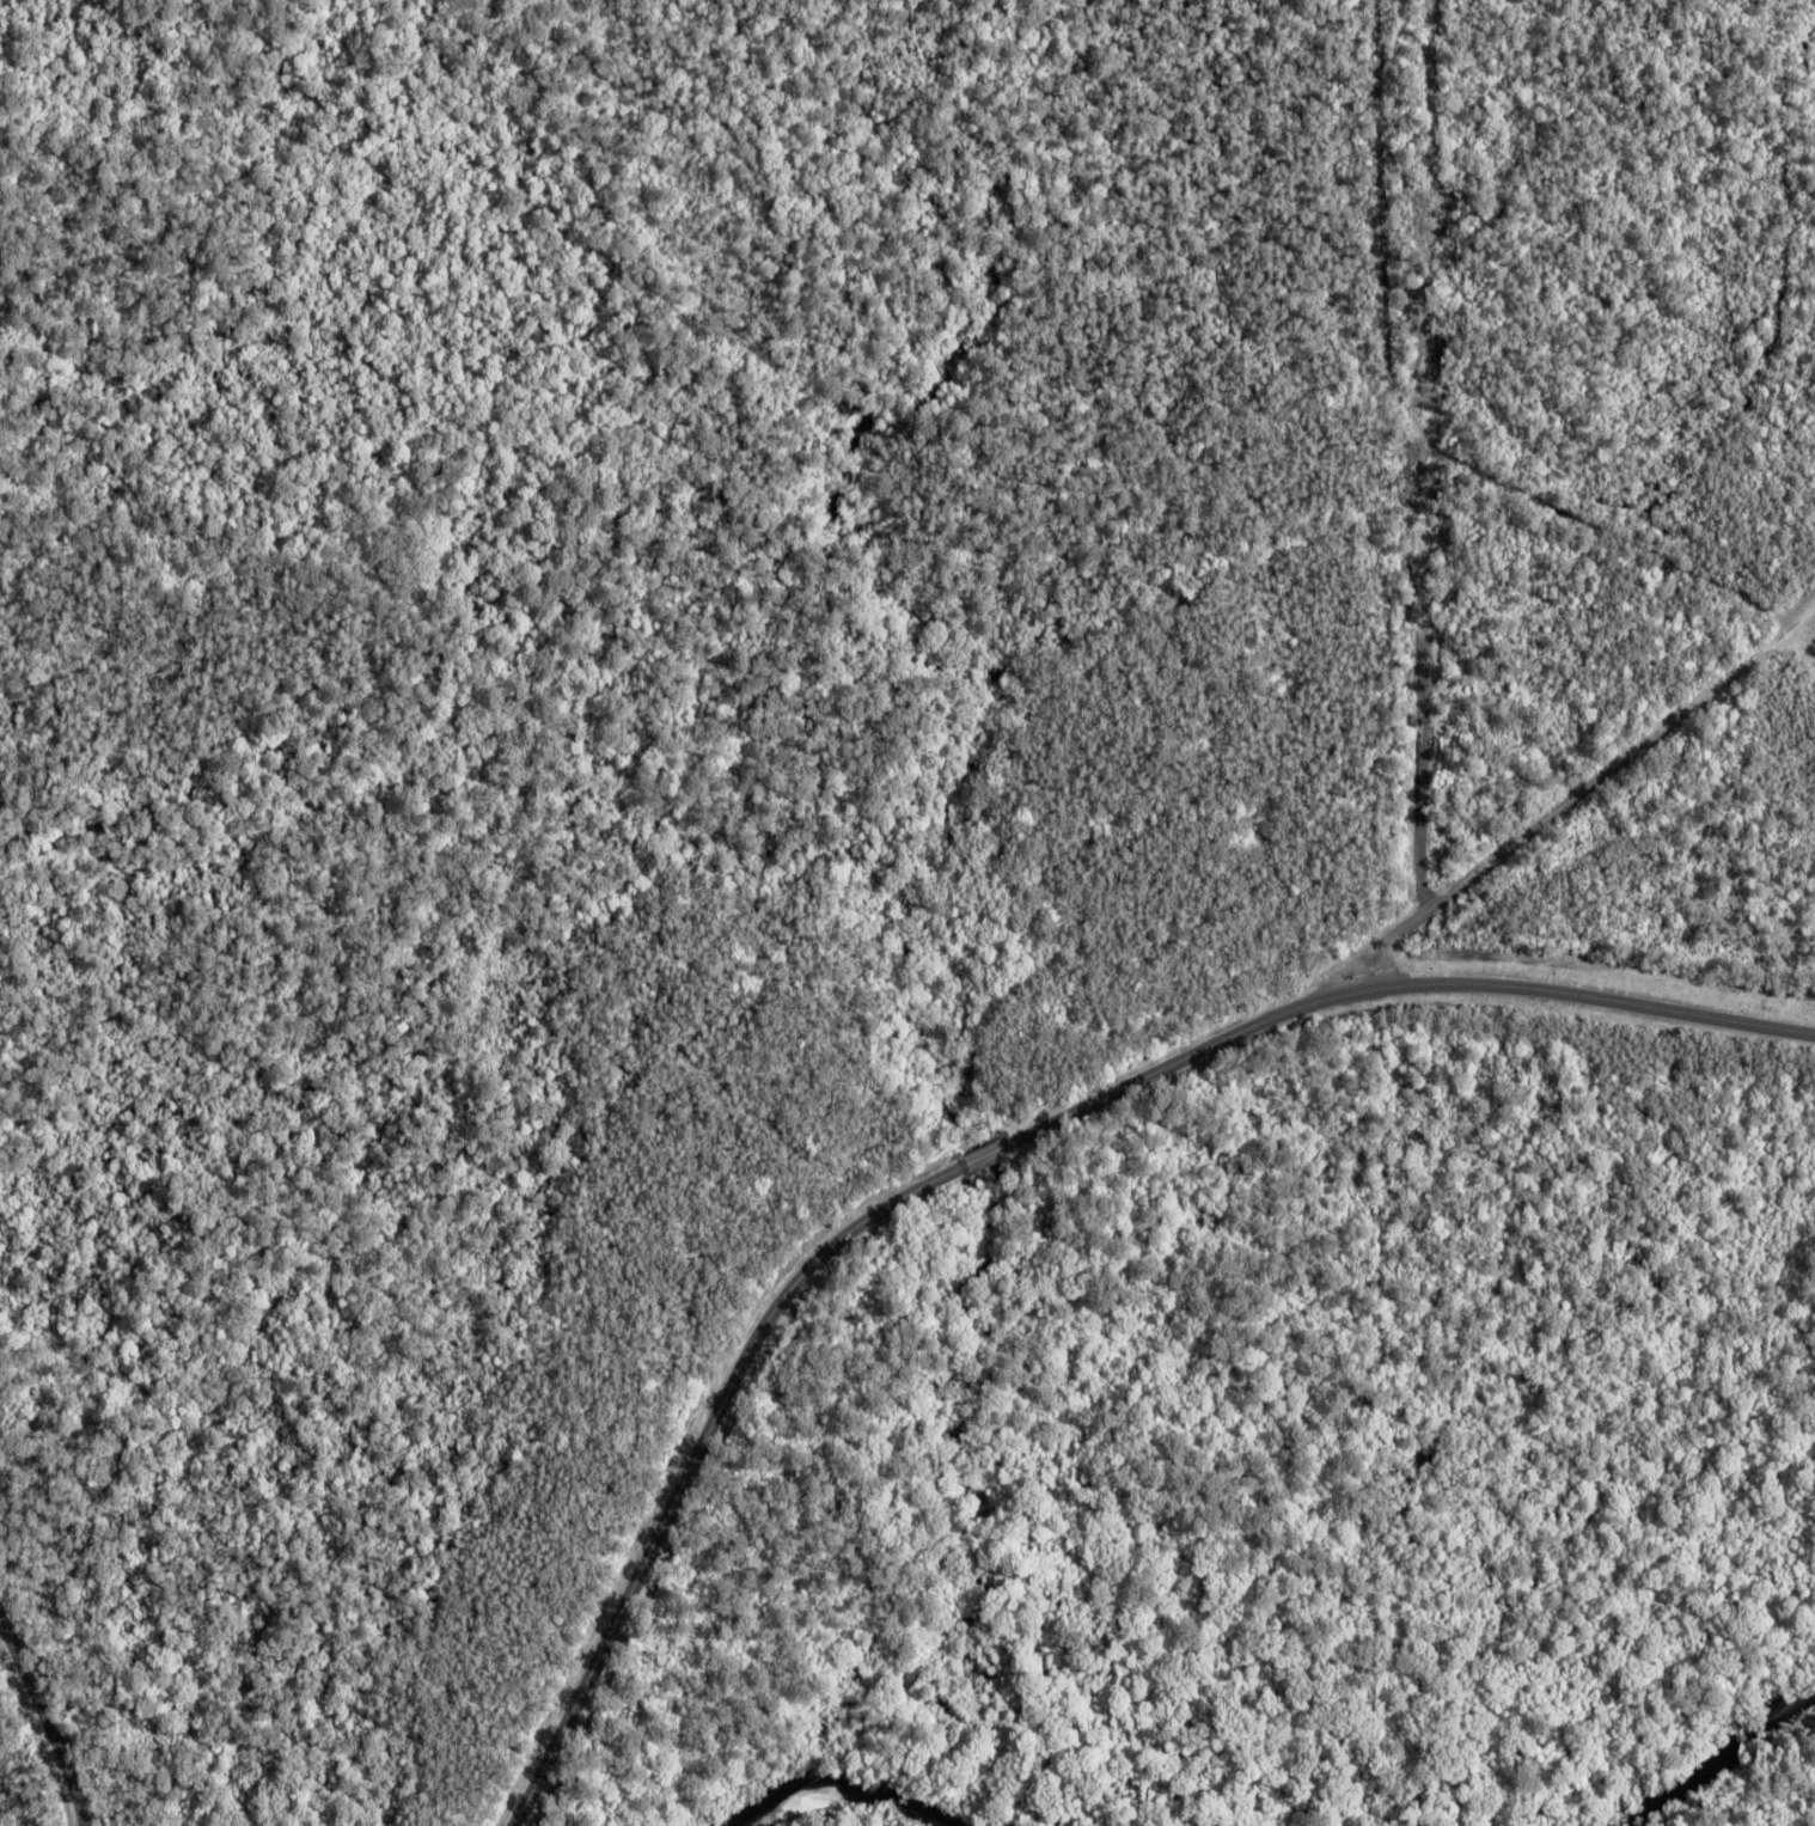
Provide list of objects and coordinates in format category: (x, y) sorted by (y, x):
road: (1387, 293)
building: (1676, 737)
building: (1658, 753)
road: (1618, 757)
road: (1424, 801)
road: (997, 1150)
road: (48, 1720)
river: (1721, 1760)
river: (841, 1784)

